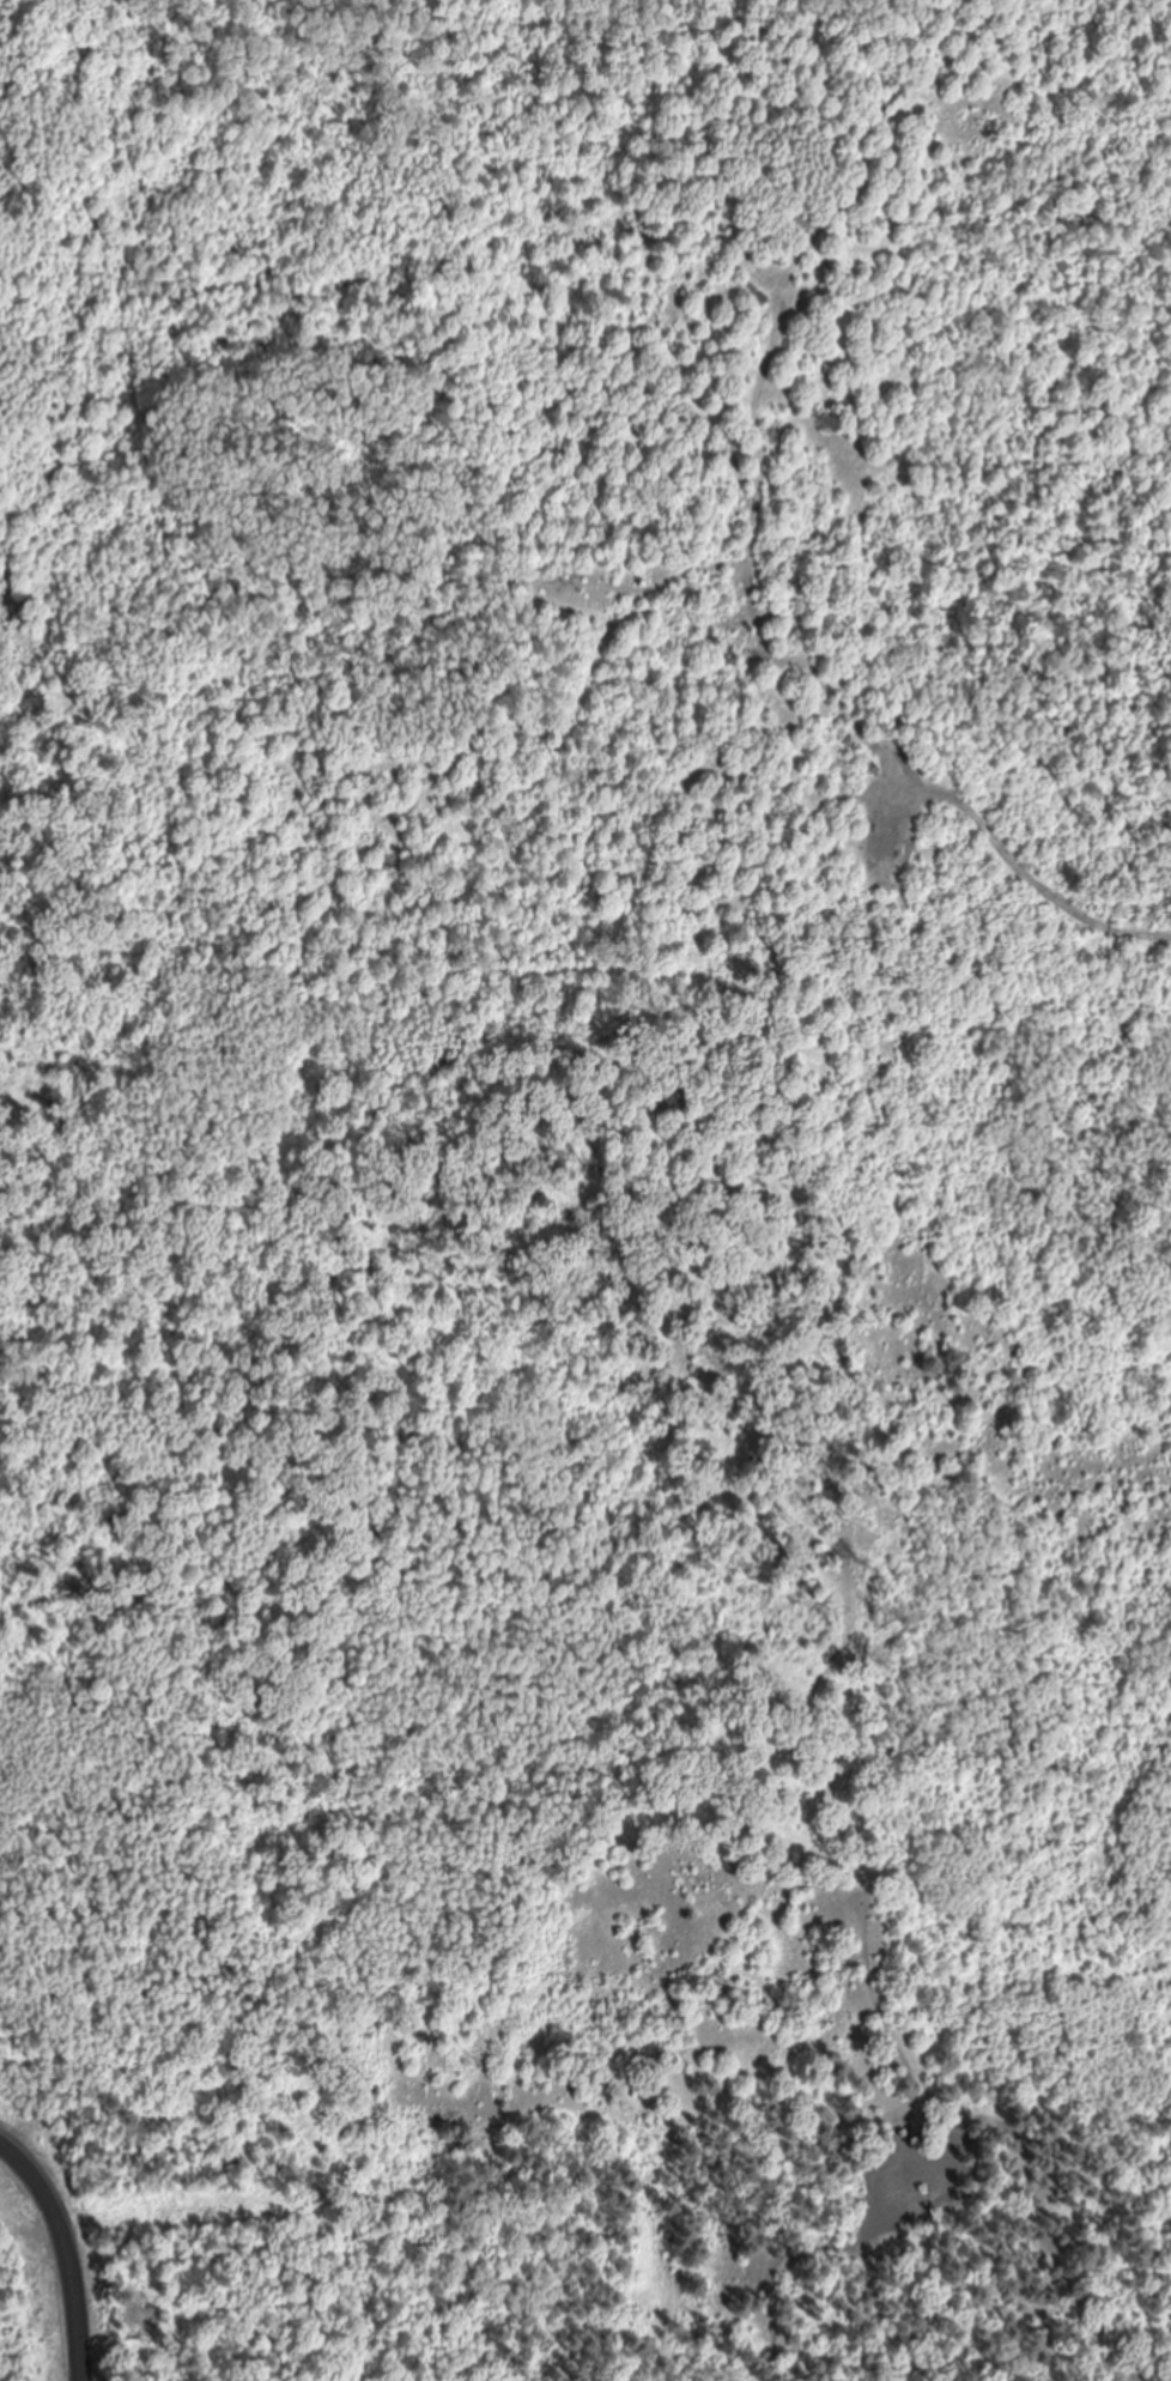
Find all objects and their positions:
road: (69, 2243)

